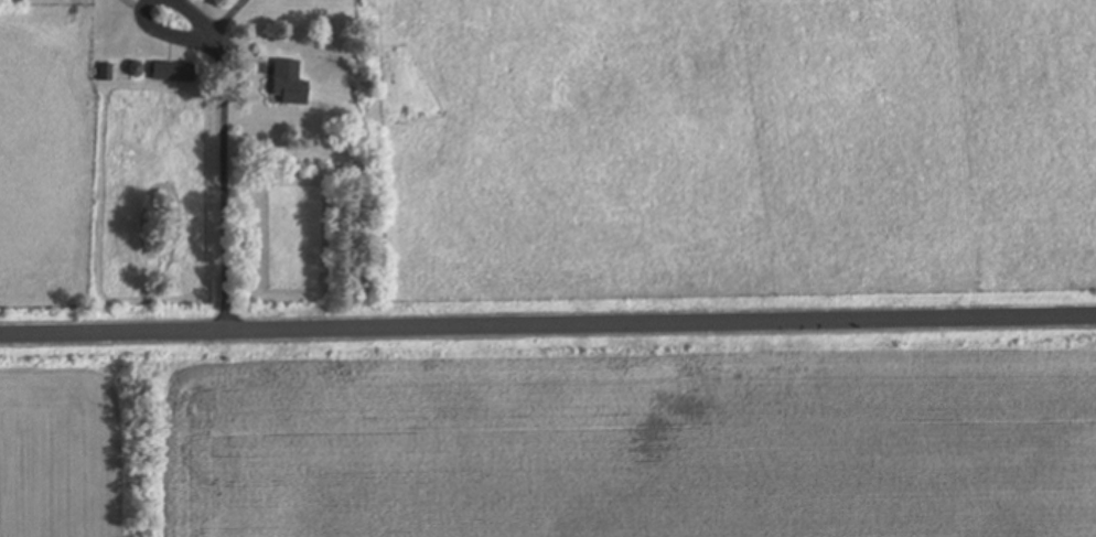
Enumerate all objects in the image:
building: (173, 73)
building: (105, 74)
building: (289, 85)
road: (548, 323)

